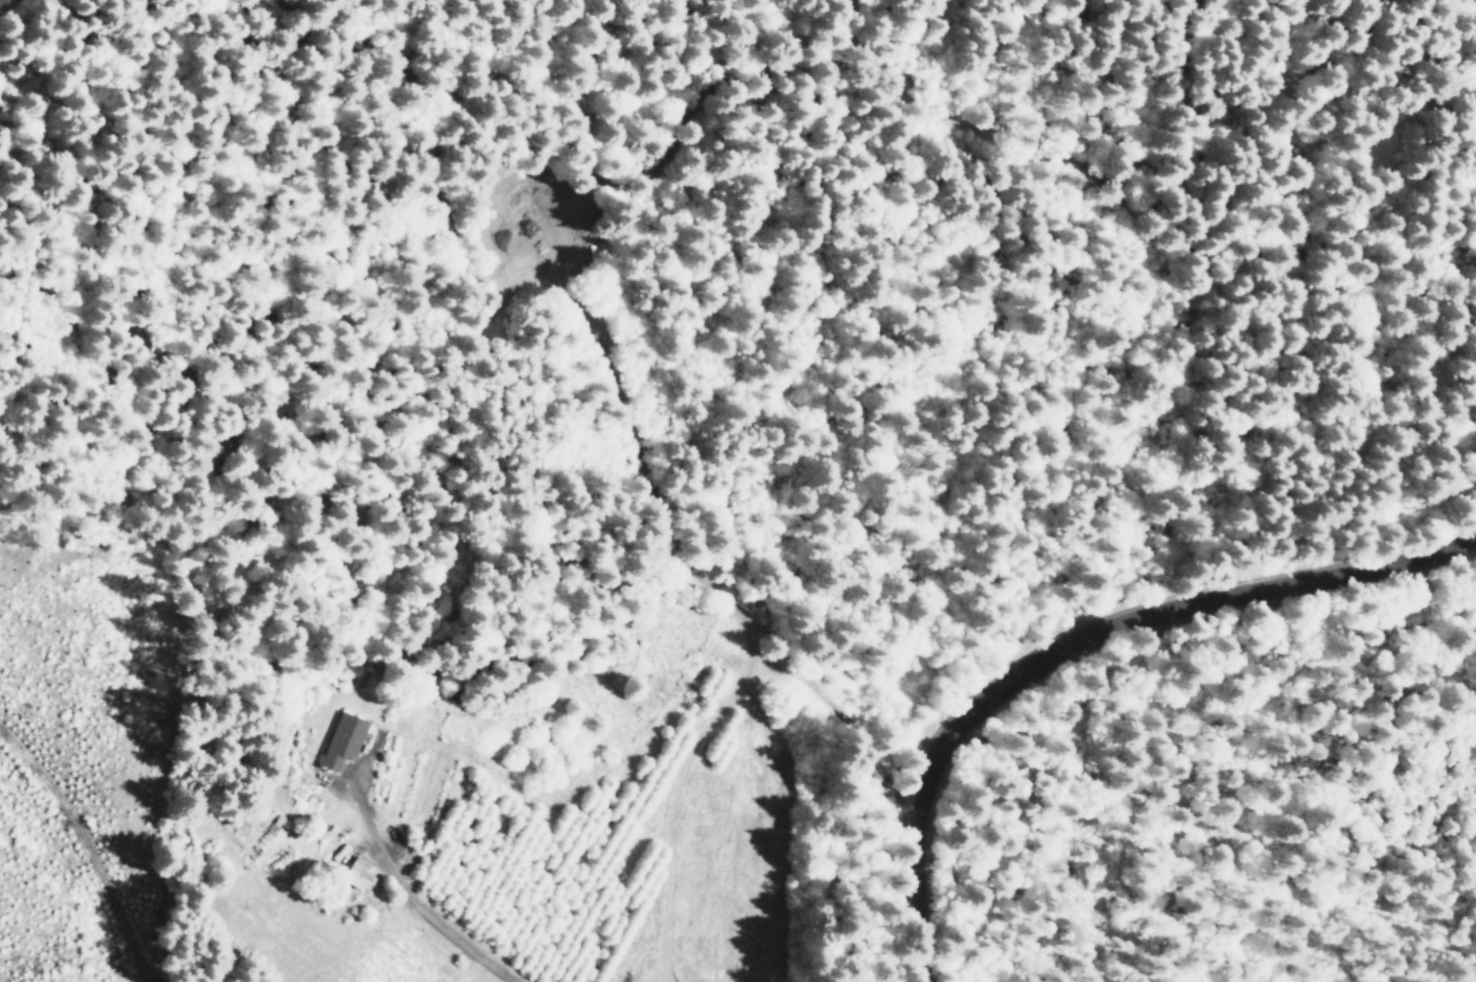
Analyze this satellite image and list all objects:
road: (1074, 634)
building: (344, 739)
building: (361, 874)
road: (459, 930)

